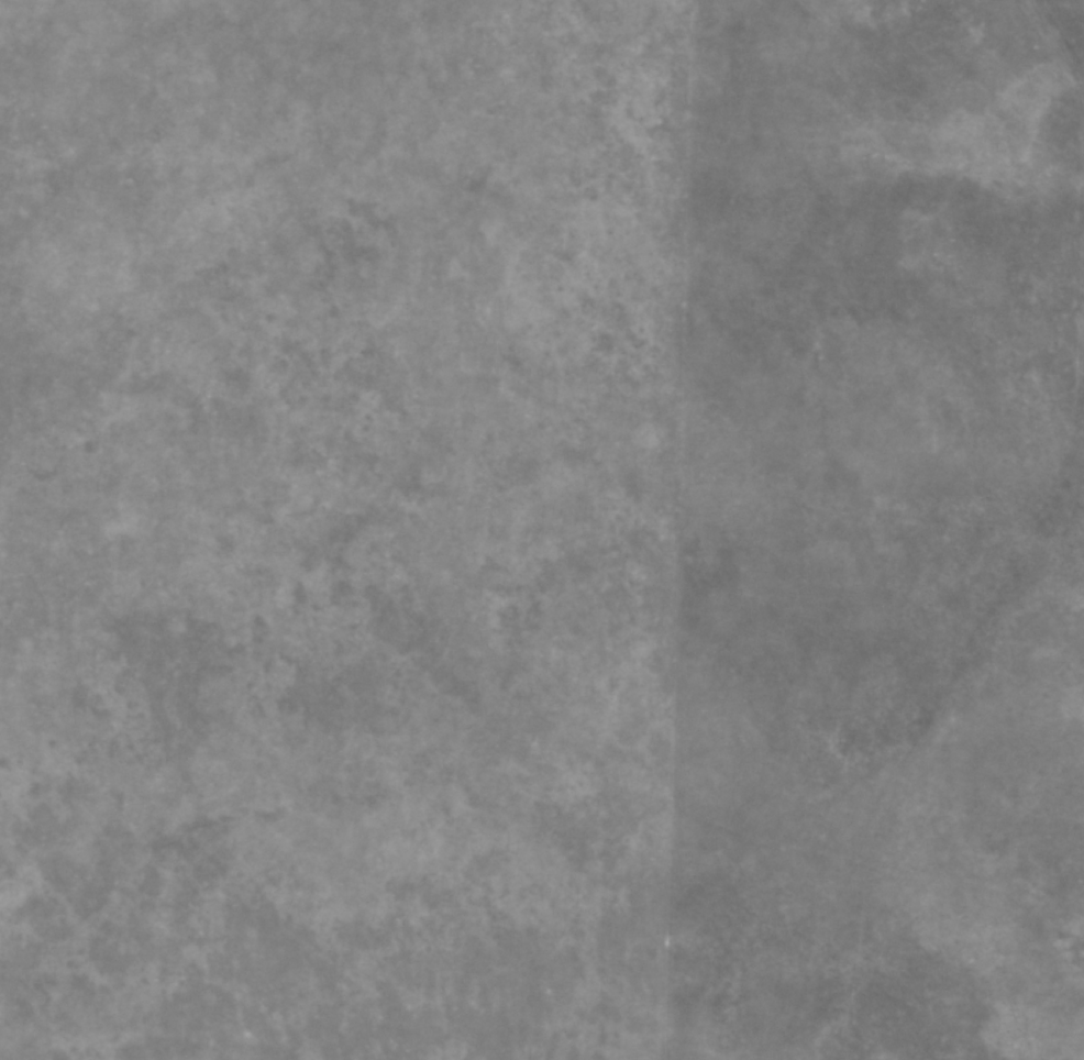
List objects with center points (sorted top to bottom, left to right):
road: (1061, 104)

